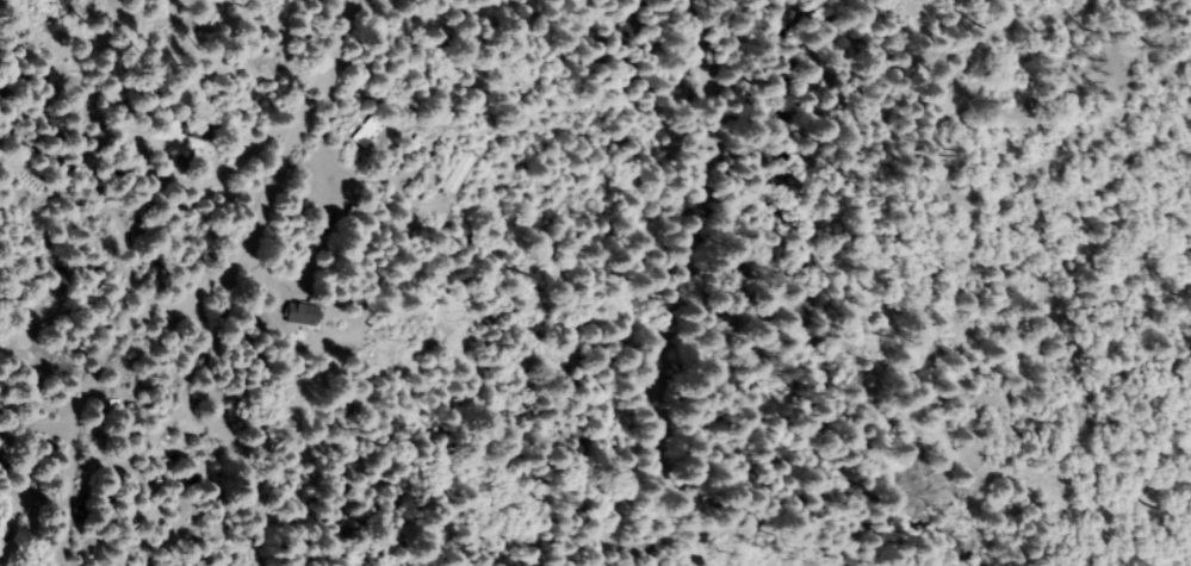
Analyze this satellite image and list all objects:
building: (134, 108)
building: (196, 135)
building: (410, 150)
building: (339, 205)
road: (677, 282)
building: (300, 312)
road: (737, 360)

